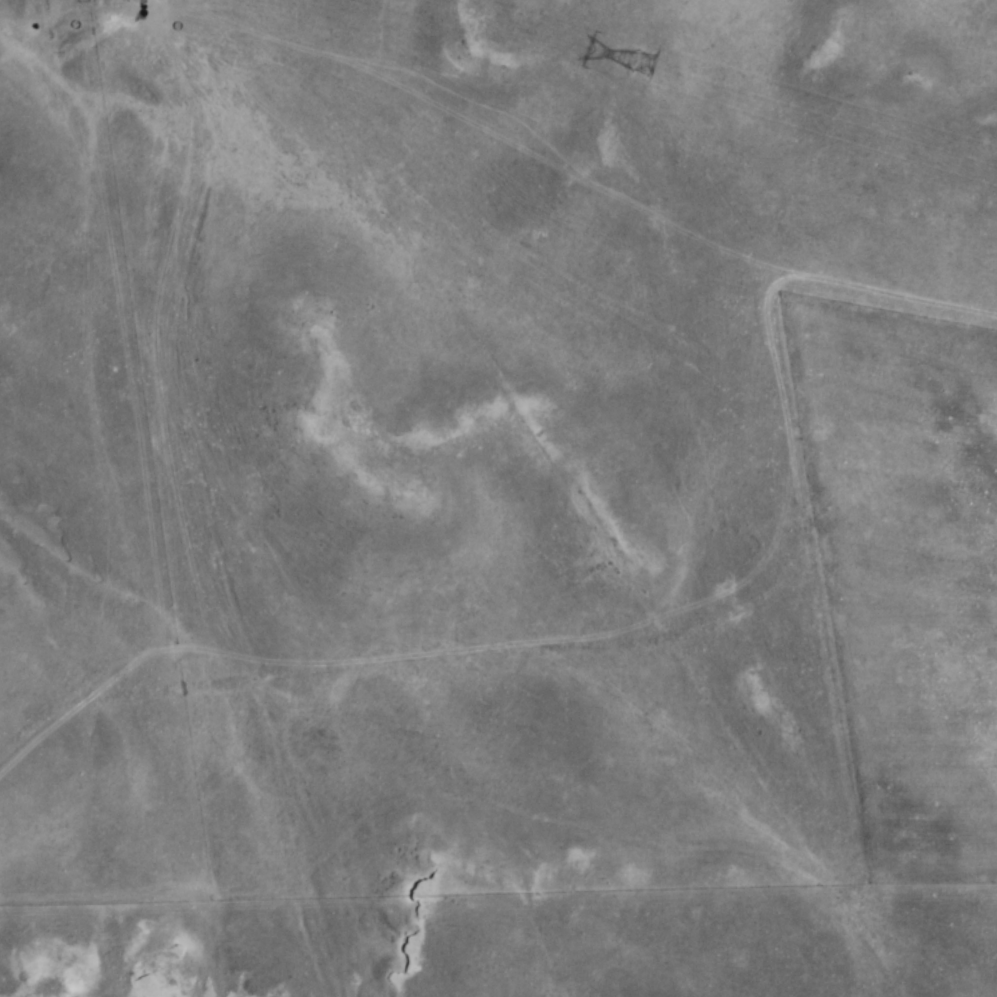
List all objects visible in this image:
power tower: (642, 57)

